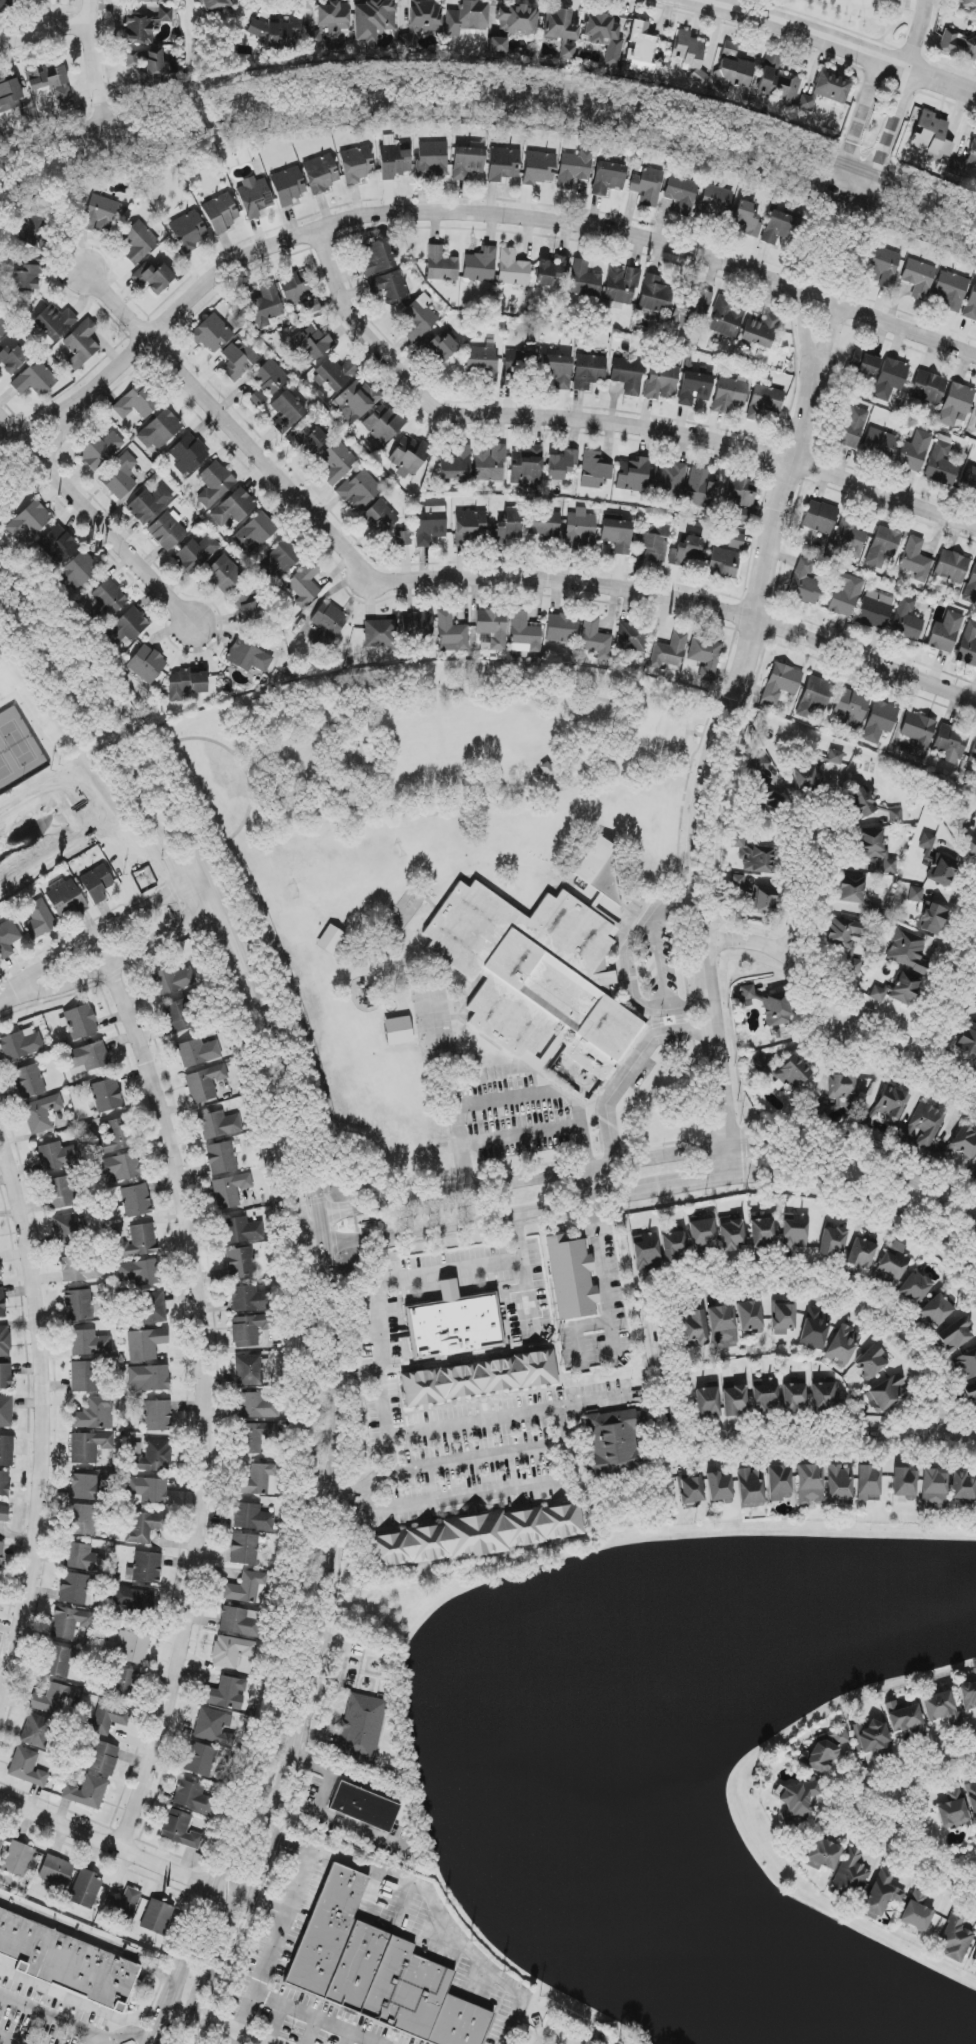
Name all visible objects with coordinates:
building: (146, 1)
building: (5, 4)
building: (964, 4)
building: (216, 5)
parking lot: (911, 5)
building: (334, 16)
building: (425, 16)
park: (863, 16)
building: (373, 20)
building: (517, 20)
building: (559, 25)
building: (145, 26)
road: (43, 31)
building: (276, 31)
road: (918, 35)
building: (604, 36)
building: (408, 41)
road: (839, 44)
building: (958, 44)
building: (498, 45)
building: (641, 48)
building: (729, 50)
building: (567, 52)
building: (690, 54)
building: (149, 65)
building: (735, 73)
road: (96, 76)
road: (492, 78)
building: (51, 82)
building: (777, 82)
building: (831, 87)
building: (9, 95)
building: (806, 102)
building: (28, 113)
road: (492, 115)
building: (931, 137)
building: (972, 153)
building: (431, 159)
building: (394, 161)
building: (502, 164)
building: (356, 165)
building: (538, 168)
building: (574, 168)
building: (956, 168)
building: (320, 173)
building: (608, 178)
building: (287, 186)
building: (647, 186)
building: (681, 194)
building: (254, 198)
building: (716, 200)
building: (221, 212)
road: (496, 212)
road: (830, 212)
building: (99, 214)
building: (747, 218)
road: (861, 222)
building: (777, 227)
building: (34, 231)
building: (188, 231)
building: (139, 242)
building: (377, 257)
building: (441, 264)
building: (480, 265)
building: (883, 266)
building: (512, 268)
building: (551, 270)
building: (27, 276)
building: (153, 277)
building: (919, 278)
building: (583, 279)
building: (621, 285)
building: (298, 286)
building: (389, 287)
building: (951, 290)
building: (655, 296)
building: (266, 305)
building: (971, 305)
building: (312, 307)
building: (691, 308)
building: (727, 317)
building: (419, 318)
building: (54, 322)
building: (3, 328)
building: (761, 330)
building: (211, 333)
building: (81, 344)
building: (311, 344)
building: (442, 347)
building: (239, 357)
building: (11, 358)
building: (482, 358)
building: (516, 361)
building: (864, 363)
building: (588, 371)
building: (557, 372)
building: (334, 374)
building: (627, 375)
building: (270, 377)
building: (890, 378)
building: (35, 379)
building: (661, 381)
building: (928, 387)
building: (694, 388)
building: (730, 393)
building: (360, 397)
building: (258, 398)
building: (766, 399)
building: (137, 402)
building: (956, 404)
building: (287, 412)
road: (603, 421)
building: (383, 424)
building: (852, 427)
building: (160, 430)
road: (28, 432)
building: (307, 440)
building: (879, 445)
building: (100, 450)
building: (914, 452)
building: (188, 454)
road: (34, 456)
building: (408, 457)
building: (337, 462)
building: (455, 463)
building: (489, 463)
building: (942, 463)
building: (561, 464)
building: (526, 466)
building: (594, 470)
building: (633, 475)
building: (120, 476)
building: (668, 480)
building: (969, 480)
building: (214, 484)
building: (700, 488)
building: (359, 490)
building: (740, 492)
building: (148, 504)
building: (233, 508)
road: (97, 516)
building: (740, 516)
building: (380, 517)
building: (820, 517)
building: (29, 521)
building: (544, 523)
building: (430, 525)
building: (468, 526)
building: (509, 527)
building: (579, 529)
building: (167, 530)
building: (255, 531)
building: (617, 535)
building: (849, 538)
building: (402, 539)
building: (736, 540)
building: (654, 542)
building: (58, 544)
building: (882, 546)
building: (687, 552)
building: (197, 553)
building: (279, 559)
building: (915, 559)
building: (723, 563)
building: (951, 567)
building: (79, 570)
building: (224, 574)
road: (471, 575)
building: (804, 583)
building: (304, 585)
building: (971, 588)
building: (845, 595)
building: (247, 607)
building: (875, 609)
building: (329, 619)
building: (906, 619)
building: (417, 625)
building: (127, 626)
building: (492, 627)
building: (562, 628)
building: (946, 632)
building: (379, 633)
building: (451, 633)
building: (524, 634)
building: (632, 637)
building: (595, 638)
building: (968, 645)
building: (669, 651)
building: (248, 657)
building: (705, 657)
building: (146, 664)
building: (781, 682)
building: (185, 684)
building: (814, 696)
road: (727, 703)
building: (850, 708)
road: (121, 717)
building: (879, 722)
park: (28, 733)
building: (918, 733)
building: (950, 743)
park: (432, 744)
building: (973, 753)
building: (835, 757)
building: (759, 764)
building: (549, 769)
building: (808, 777)
building: (975, 779)
road: (559, 789)
building: (769, 802)
building: (862, 802)
building: (895, 815)
building: (970, 841)
building: (927, 846)
building: (876, 849)
road: (172, 855)
building: (754, 859)
building: (599, 870)
building: (942, 870)
building: (96, 883)
road: (218, 883)
building: (851, 889)
road: (812, 890)
building: (915, 894)
building: (756, 896)
building: (66, 900)
building: (873, 909)
building: (39, 919)
building: (932, 919)
building: (8, 938)
building: (330, 939)
road: (244, 940)
building: (847, 945)
building: (908, 951)
road: (628, 964)
building: (530, 969)
building: (173, 980)
building: (905, 988)
road: (945, 990)
building: (878, 993)
road: (7, 998)
road: (841, 1002)
building: (770, 1006)
building: (975, 1007)
building: (178, 1015)
building: (81, 1021)
building: (398, 1031)
building: (969, 1041)
building: (20, 1044)
building: (198, 1052)
building: (87, 1058)
road: (627, 1073)
building: (792, 1073)
building: (28, 1081)
building: (205, 1083)
building: (840, 1089)
building: (107, 1095)
road: (509, 1097)
building: (891, 1103)
road: (299, 1105)
road: (718, 1108)
building: (41, 1113)
building: (219, 1125)
building: (923, 1126)
road: (521, 1136)
building: (116, 1137)
building: (964, 1143)
road: (732, 1145)
building: (57, 1156)
building: (221, 1158)
building: (120, 1168)
building: (230, 1190)
building: (60, 1192)
road: (647, 1194)
road: (288, 1195)
building: (136, 1200)
traffic signals: (289, 1200)
road: (393, 1202)
traffic signals: (338, 1212)
road: (306, 1217)
building: (68, 1229)
building: (242, 1230)
building: (762, 1230)
building: (795, 1230)
building: (702, 1233)
building: (731, 1234)
building: (139, 1242)
building: (832, 1242)
building: (672, 1244)
building: (645, 1250)
building: (861, 1253)
traffic signals: (327, 1261)
road: (603, 1262)
building: (241, 1263)
building: (892, 1263)
building: (81, 1269)
building: (140, 1272)
building: (0, 1274)
road: (770, 1277)
building: (571, 1278)
building: (914, 1287)
building: (250, 1298)
building: (2, 1303)
building: (79, 1305)
building: (152, 1307)
building: (935, 1310)
building: (749, 1316)
building: (782, 1318)
building: (454, 1323)
building: (695, 1326)
building: (722, 1327)
building: (815, 1328)
building: (249, 1329)
building: (955, 1334)
building: (4, 1342)
building: (88, 1343)
building: (145, 1344)
building: (842, 1346)
building: (870, 1362)
building: (965, 1365)
building: (249, 1370)
road: (359, 1372)
building: (5, 1376)
building: (83, 1377)
building: (148, 1378)
building: (479, 1378)
road: (203, 1389)
building: (887, 1393)
building: (764, 1395)
building: (971, 1395)
building: (823, 1396)
building: (794, 1398)
building: (707, 1401)
building: (734, 1401)
building: (257, 1406)
building: (6, 1411)
building: (94, 1414)
building: (157, 1415)
road: (42, 1420)
road: (456, 1422)
building: (257, 1436)
building: (612, 1441)
road: (823, 1442)
building: (89, 1446)
building: (6, 1451)
building: (152, 1456)
road: (476, 1457)
road: (387, 1470)
building: (259, 1481)
building: (868, 1482)
building: (904, 1482)
building: (779, 1483)
building: (810, 1484)
building: (839, 1485)
building: (962, 1486)
building: (84, 1487)
building: (719, 1487)
building: (750, 1487)
building: (934, 1487)
building: (149, 1490)
building: (691, 1490)
road: (321, 1497)
building: (4, 1513)
building: (252, 1517)
building: (82, 1519)
building: (145, 1527)
building: (477, 1535)
building: (244, 1549)
building: (1, 1553)
building: (83, 1558)
building: (145, 1568)
building: (73, 1588)
building: (247, 1588)
building: (133, 1599)
road: (294, 1620)
building: (68, 1622)
building: (238, 1622)
road: (318, 1640)
building: (132, 1647)
building: (231, 1651)
building: (57, 1660)
building: (123, 1683)
building: (226, 1693)
building: (967, 1695)
building: (56, 1699)
building: (941, 1708)
building: (903, 1717)
building: (108, 1718)
building: (213, 1727)
building: (362, 1727)
building: (36, 1730)
building: (871, 1737)
building: (819, 1757)
building: (102, 1758)
building: (200, 1759)
building: (26, 1768)
road: (330, 1770)
building: (87, 1791)
building: (971, 1796)
building: (192, 1797)
building: (795, 1799)
building: (364, 1807)
road: (847, 1807)
building: (952, 1810)
road: (894, 1822)
building: (180, 1830)
building: (1, 1842)
road: (119, 1848)
building: (822, 1855)
building: (18, 1859)
building: (55, 1872)
building: (849, 1875)
road: (301, 1879)
building: (86, 1889)
building: (880, 1895)
road: (433, 1900)
building: (124, 1902)
building: (916, 1912)
building: (156, 1917)
road: (90, 1935)
building: (956, 1938)
road: (270, 1950)
building: (975, 1957)
building: (65, 1964)
building: (975, 1967)
building: (376, 1970)
road: (173, 1989)
road: (317, 2017)
road: (157, 2024)
road: (75, 2028)
road: (229, 2028)
road: (240, 2039)
road: (5, 2041)
road: (104, 2043)

